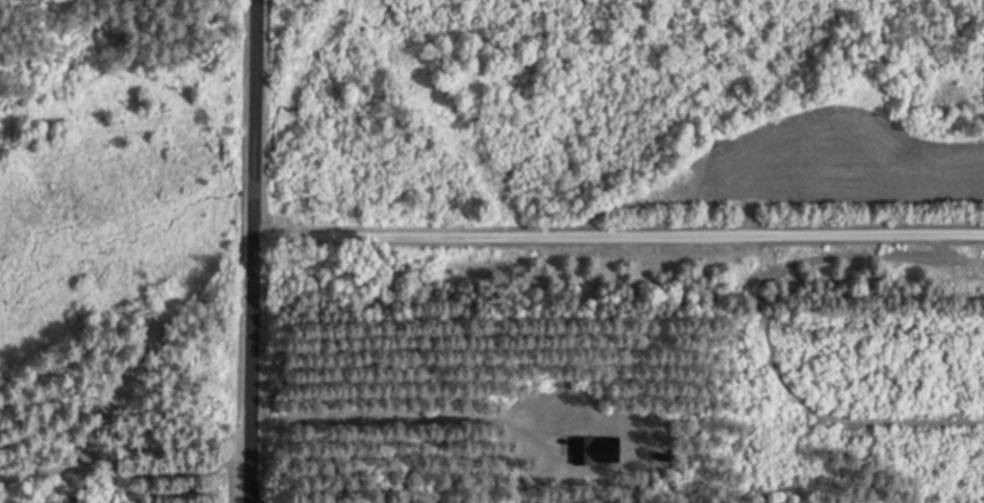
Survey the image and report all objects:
crop: (825, 174)
road: (619, 229)
road: (256, 251)
building: (596, 451)

